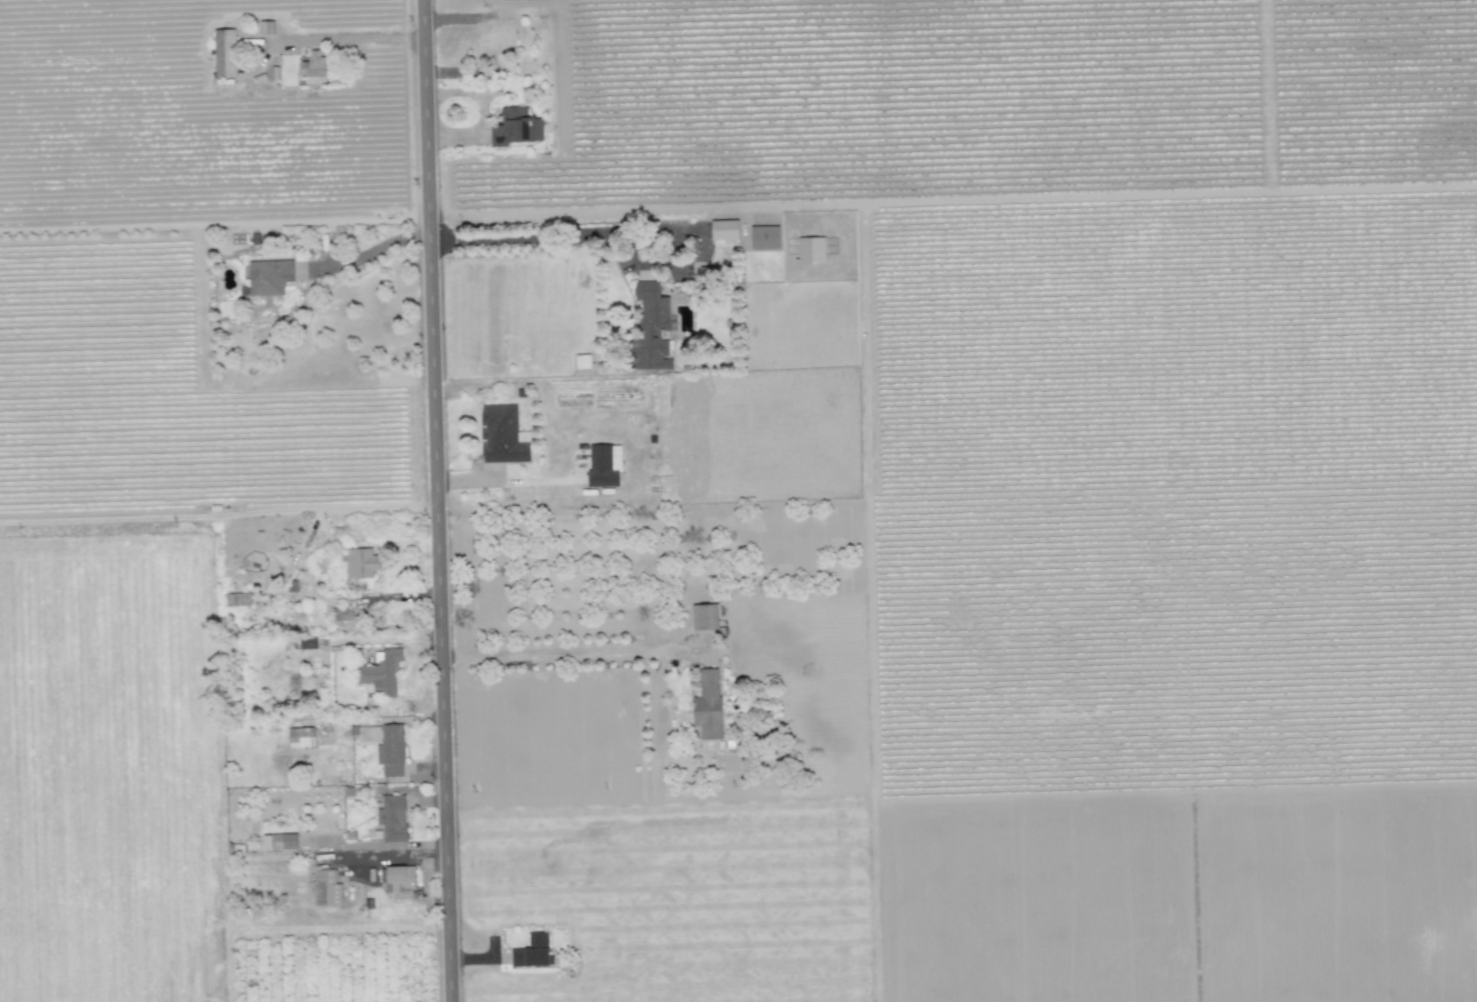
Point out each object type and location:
building: (266, 27)
road: (348, 37)
building: (225, 52)
building: (312, 64)
building: (517, 127)
building: (726, 229)
building: (765, 236)
road: (533, 237)
building: (812, 249)
road: (373, 250)
building: (268, 276)
building: (652, 327)
building: (583, 360)
building: (503, 434)
building: (605, 465)
road: (434, 500)
building: (362, 562)
building: (343, 613)
building: (704, 616)
building: (380, 672)
building: (708, 704)
building: (301, 736)
building: (391, 750)
building: (393, 817)
building: (280, 841)
building: (327, 887)
building: (532, 951)

